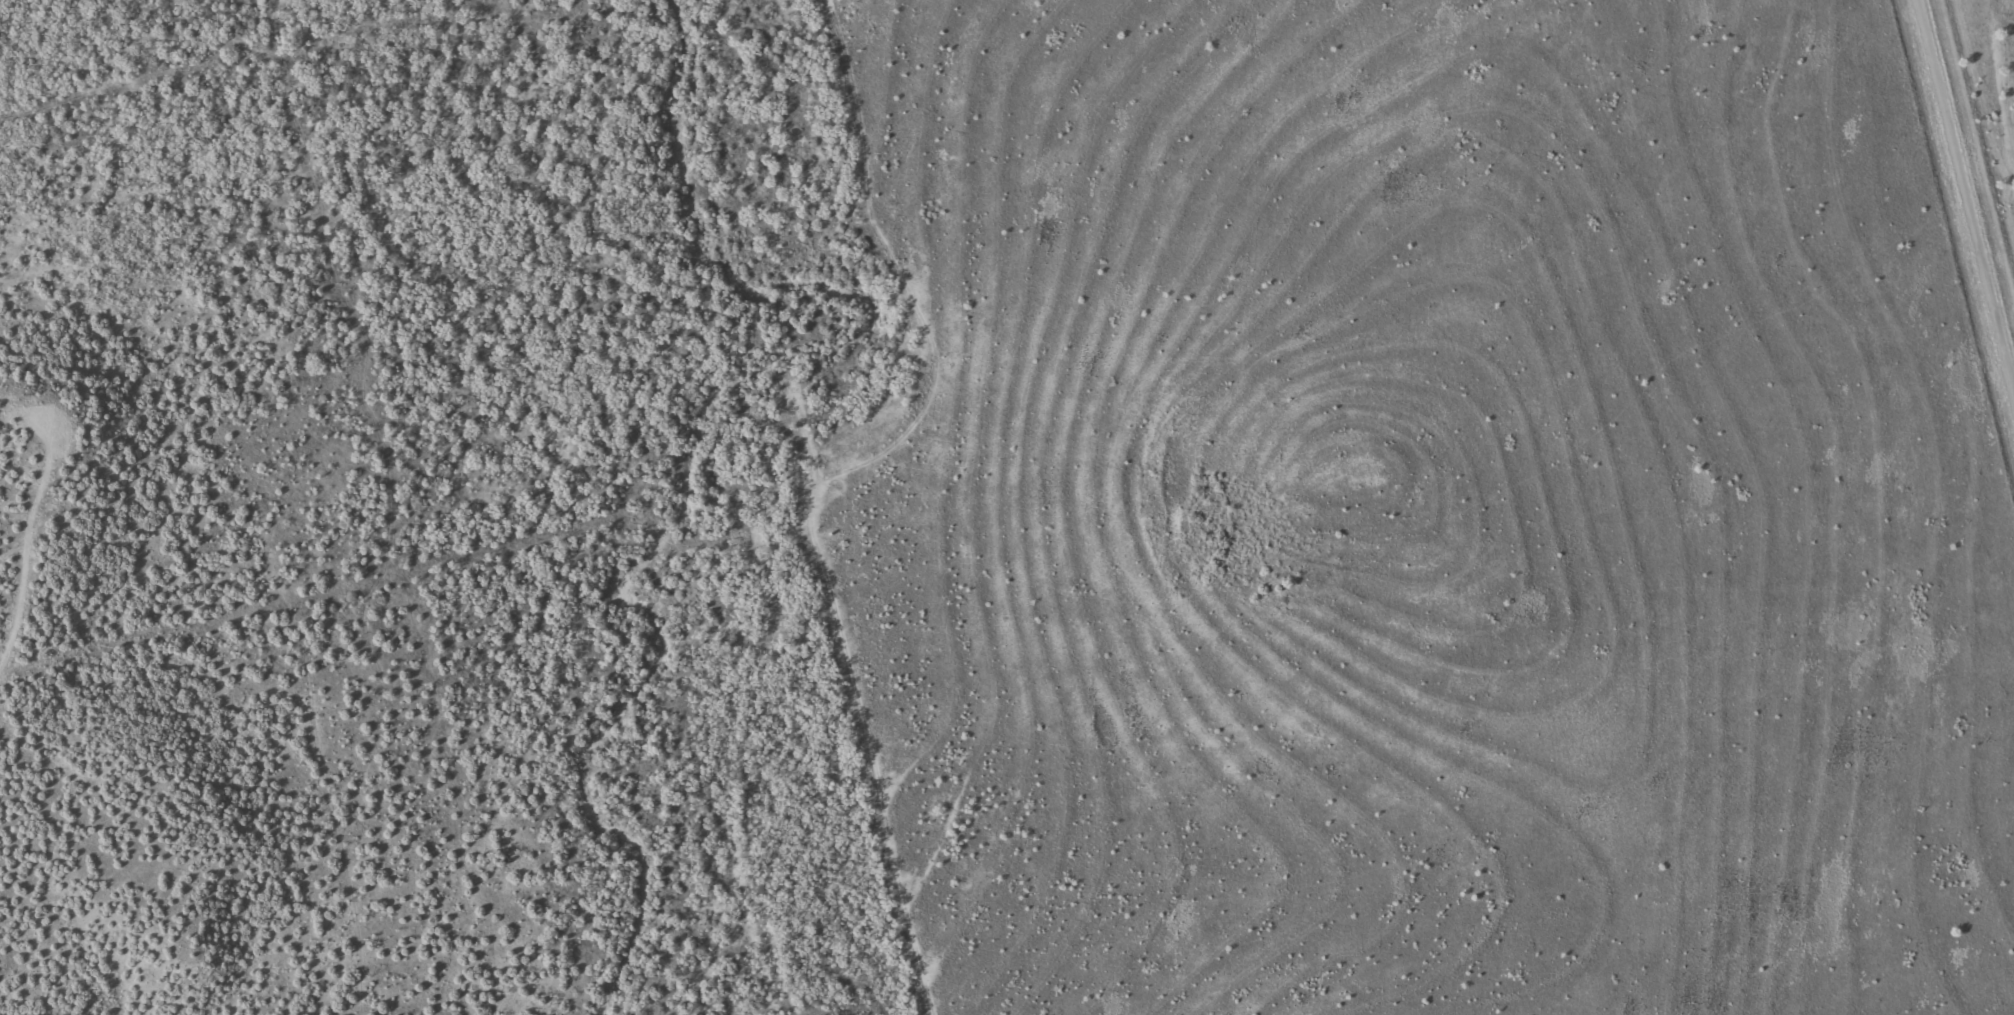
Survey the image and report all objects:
road: (1966, 198)

